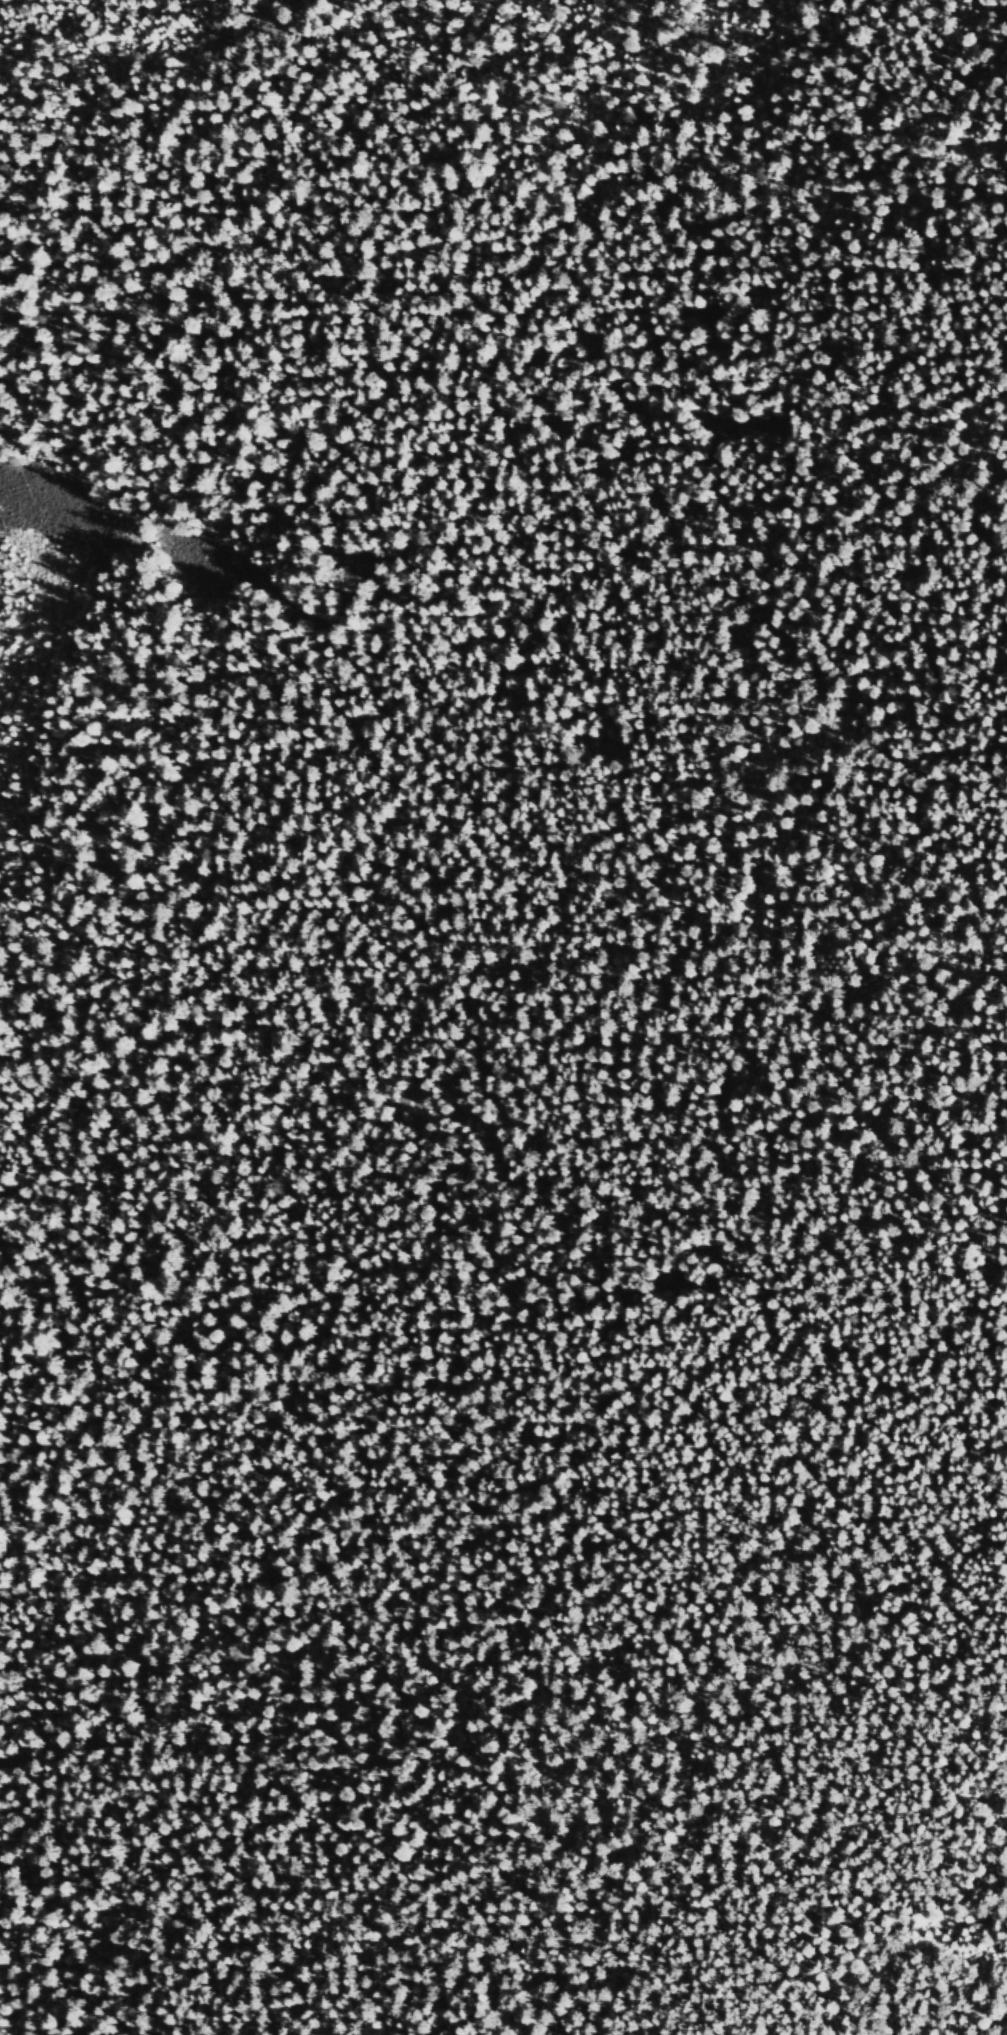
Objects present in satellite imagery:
road: (924, 1949)

